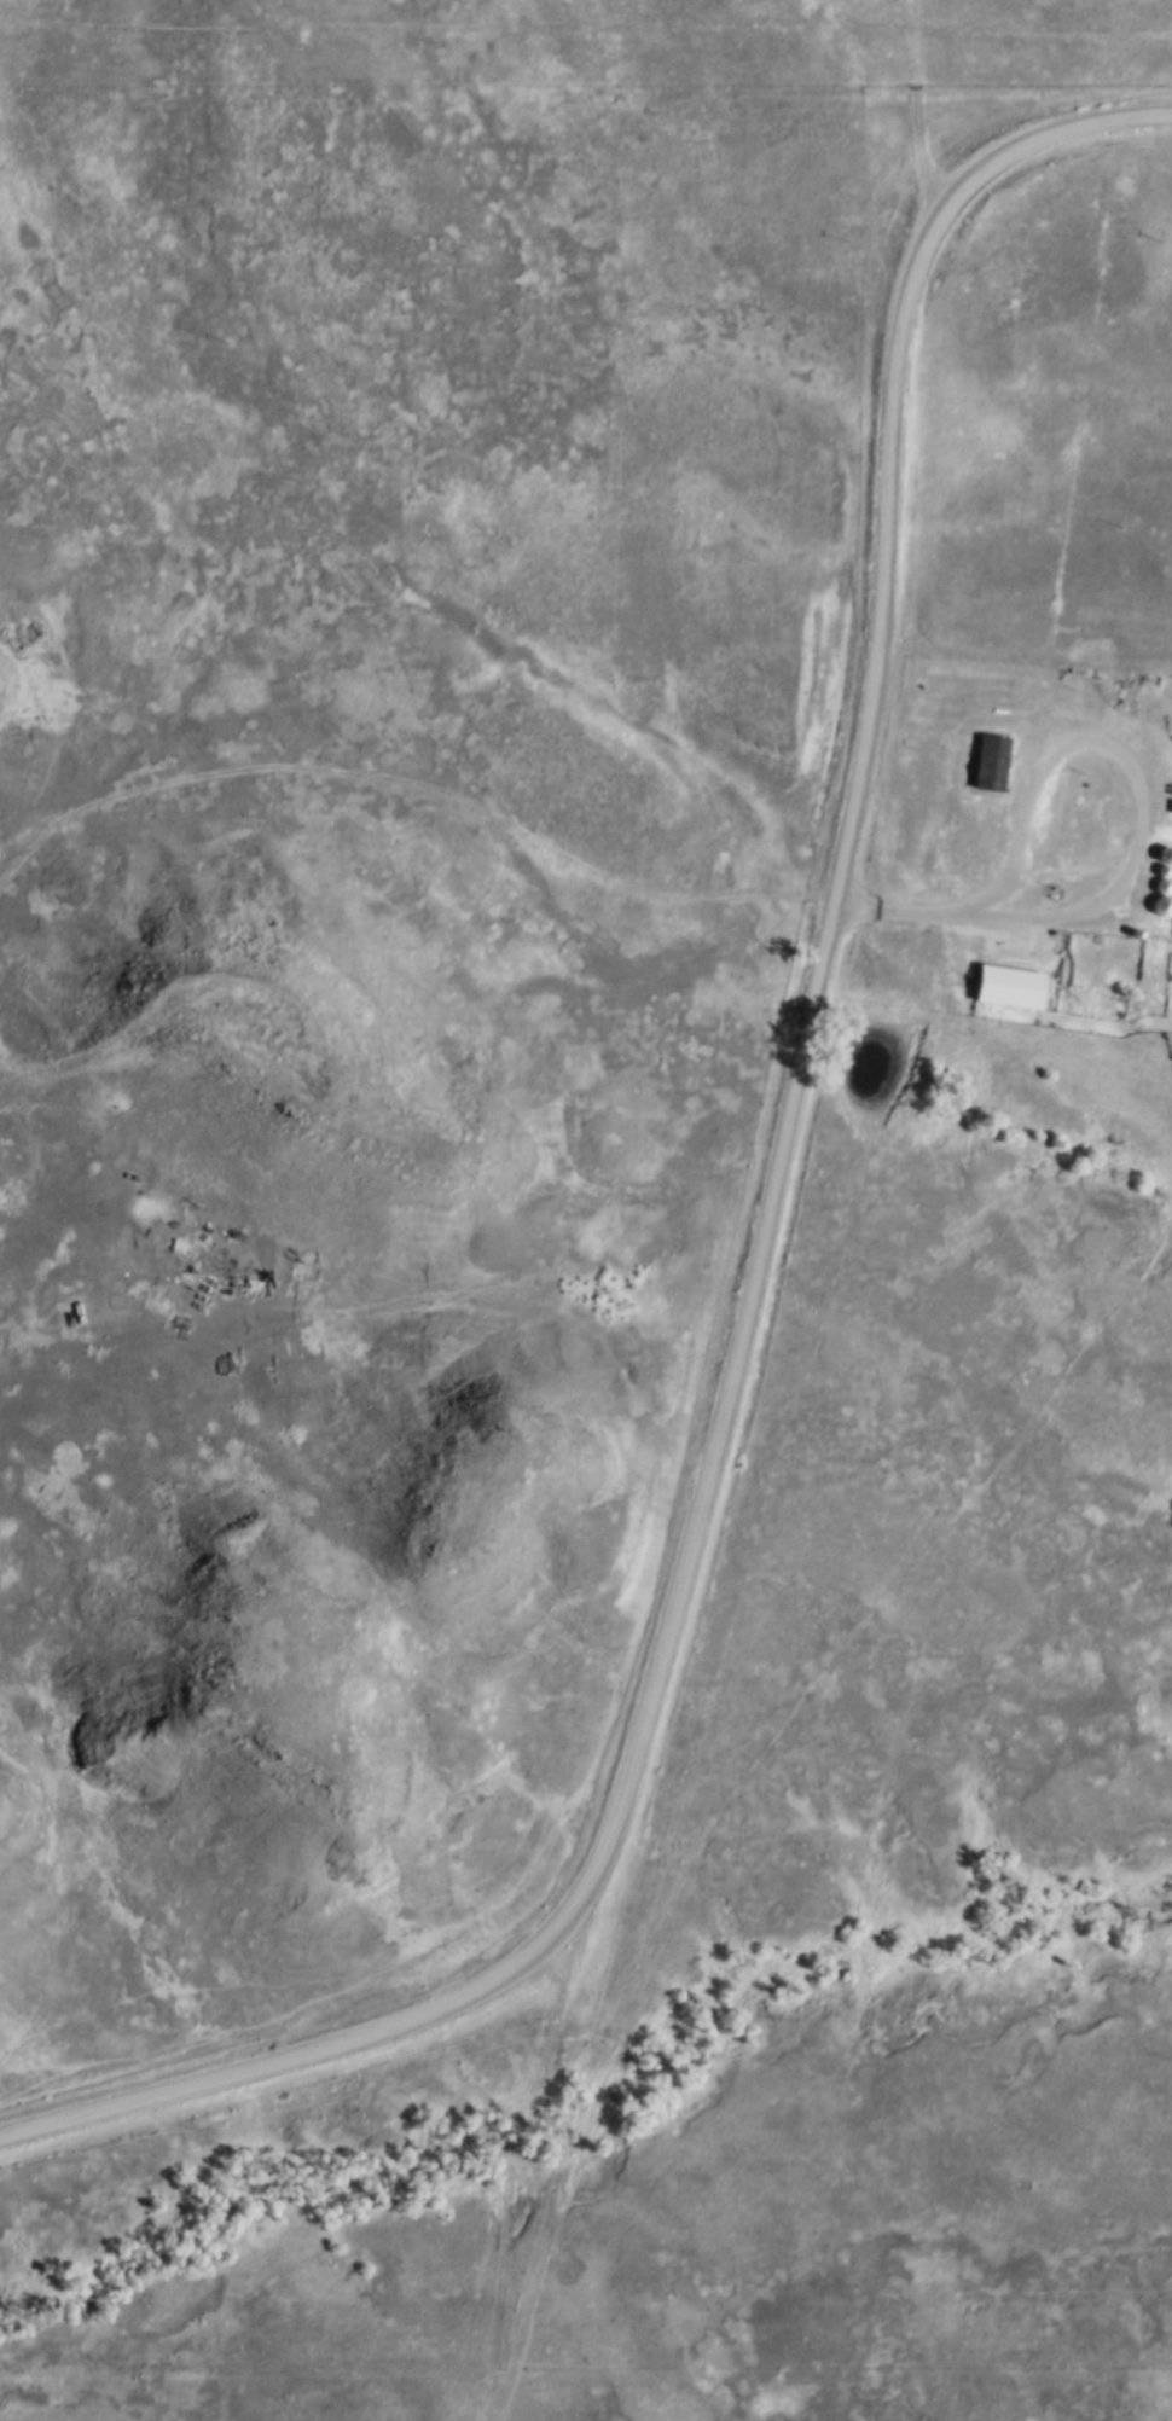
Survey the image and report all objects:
road: (912, 117)
road: (1027, 139)
building: (994, 765)
road: (410, 788)
road: (1015, 916)
building: (1015, 987)
road: (727, 1391)
road: (507, 2178)

